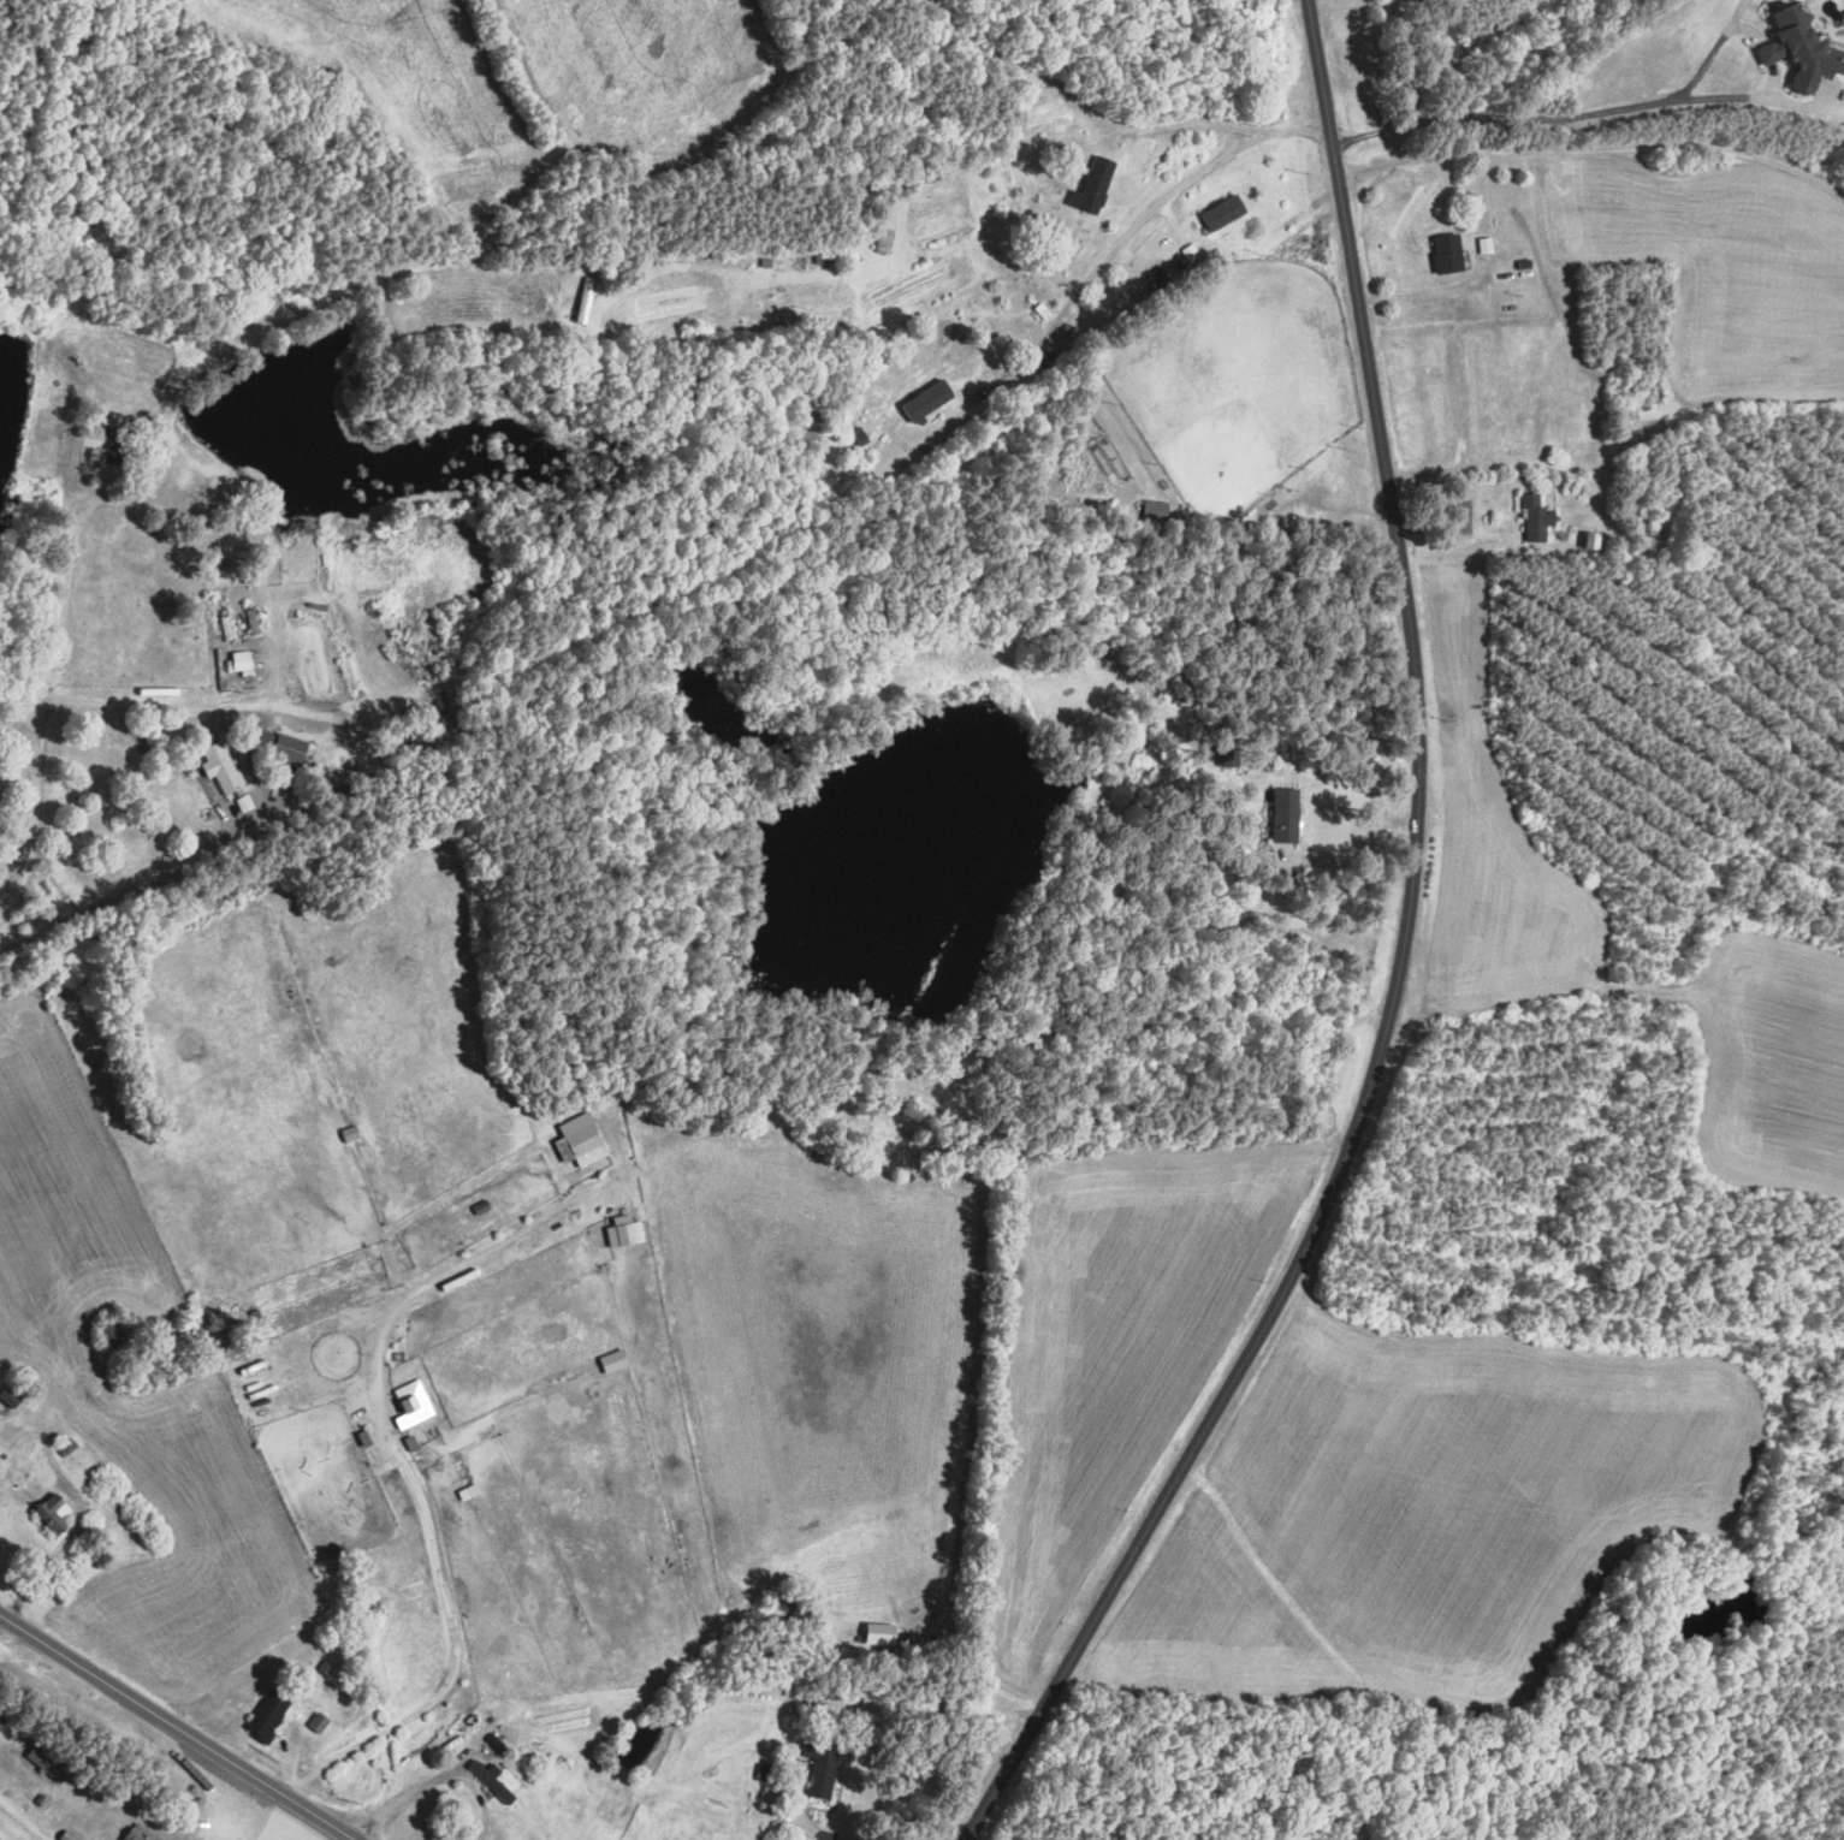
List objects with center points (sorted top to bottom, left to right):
building: (1804, 47)
road: (1031, 75)
road: (1550, 117)
building: (1096, 185)
road: (1613, 185)
road: (1168, 196)
road: (901, 201)
building: (1217, 210)
road: (500, 245)
building: (1486, 245)
building: (1187, 251)
building: (1449, 254)
building: (1154, 273)
building: (1160, 281)
road: (1427, 295)
road: (1020, 363)
park: (1235, 379)
road: (76, 394)
building: (930, 399)
building: (1151, 506)
road: (1282, 517)
building: (1537, 518)
road: (47, 640)
building: (242, 663)
road: (20, 729)
building: (291, 749)
building: (220, 766)
building: (1282, 814)
road: (1345, 861)
road: (147, 880)
road: (1397, 968)
crop: (243, 1112)
building: (348, 1134)
building: (577, 1141)
building: (624, 1217)
building: (253, 1317)
building: (168, 1331)
building: (108, 1332)
crop: (813, 1343)
building: (616, 1360)
crop: (1116, 1360)
building: (248, 1367)
building: (10, 1395)
building: (411, 1409)
building: (262, 1415)
road: (390, 1444)
building: (65, 1448)
crop: (571, 1482)
road: (64, 1483)
building: (48, 1513)
crop: (192, 1554)
building: (357, 1608)
road: (4, 1631)
building: (884, 1633)
building: (852, 1636)
building: (321, 1669)
building: (810, 1699)
building: (263, 1716)
crop: (564, 1722)
building: (315, 1723)
road: (173, 1731)
road: (290, 1745)
building: (547, 1761)
building: (42, 1763)
building: (817, 1765)
building: (761, 1773)
building: (493, 1781)
building: (191, 1788)
road: (410, 1794)
building: (196, 1800)
building: (40, 1802)
road: (796, 1806)
building: (499, 1810)
road: (138, 1812)
road: (290, 1815)
road: (235, 1827)
road: (280, 1832)
road: (297, 1832)
building: (136, 1834)
building: (64, 1836)
crop: (1, 1838)

